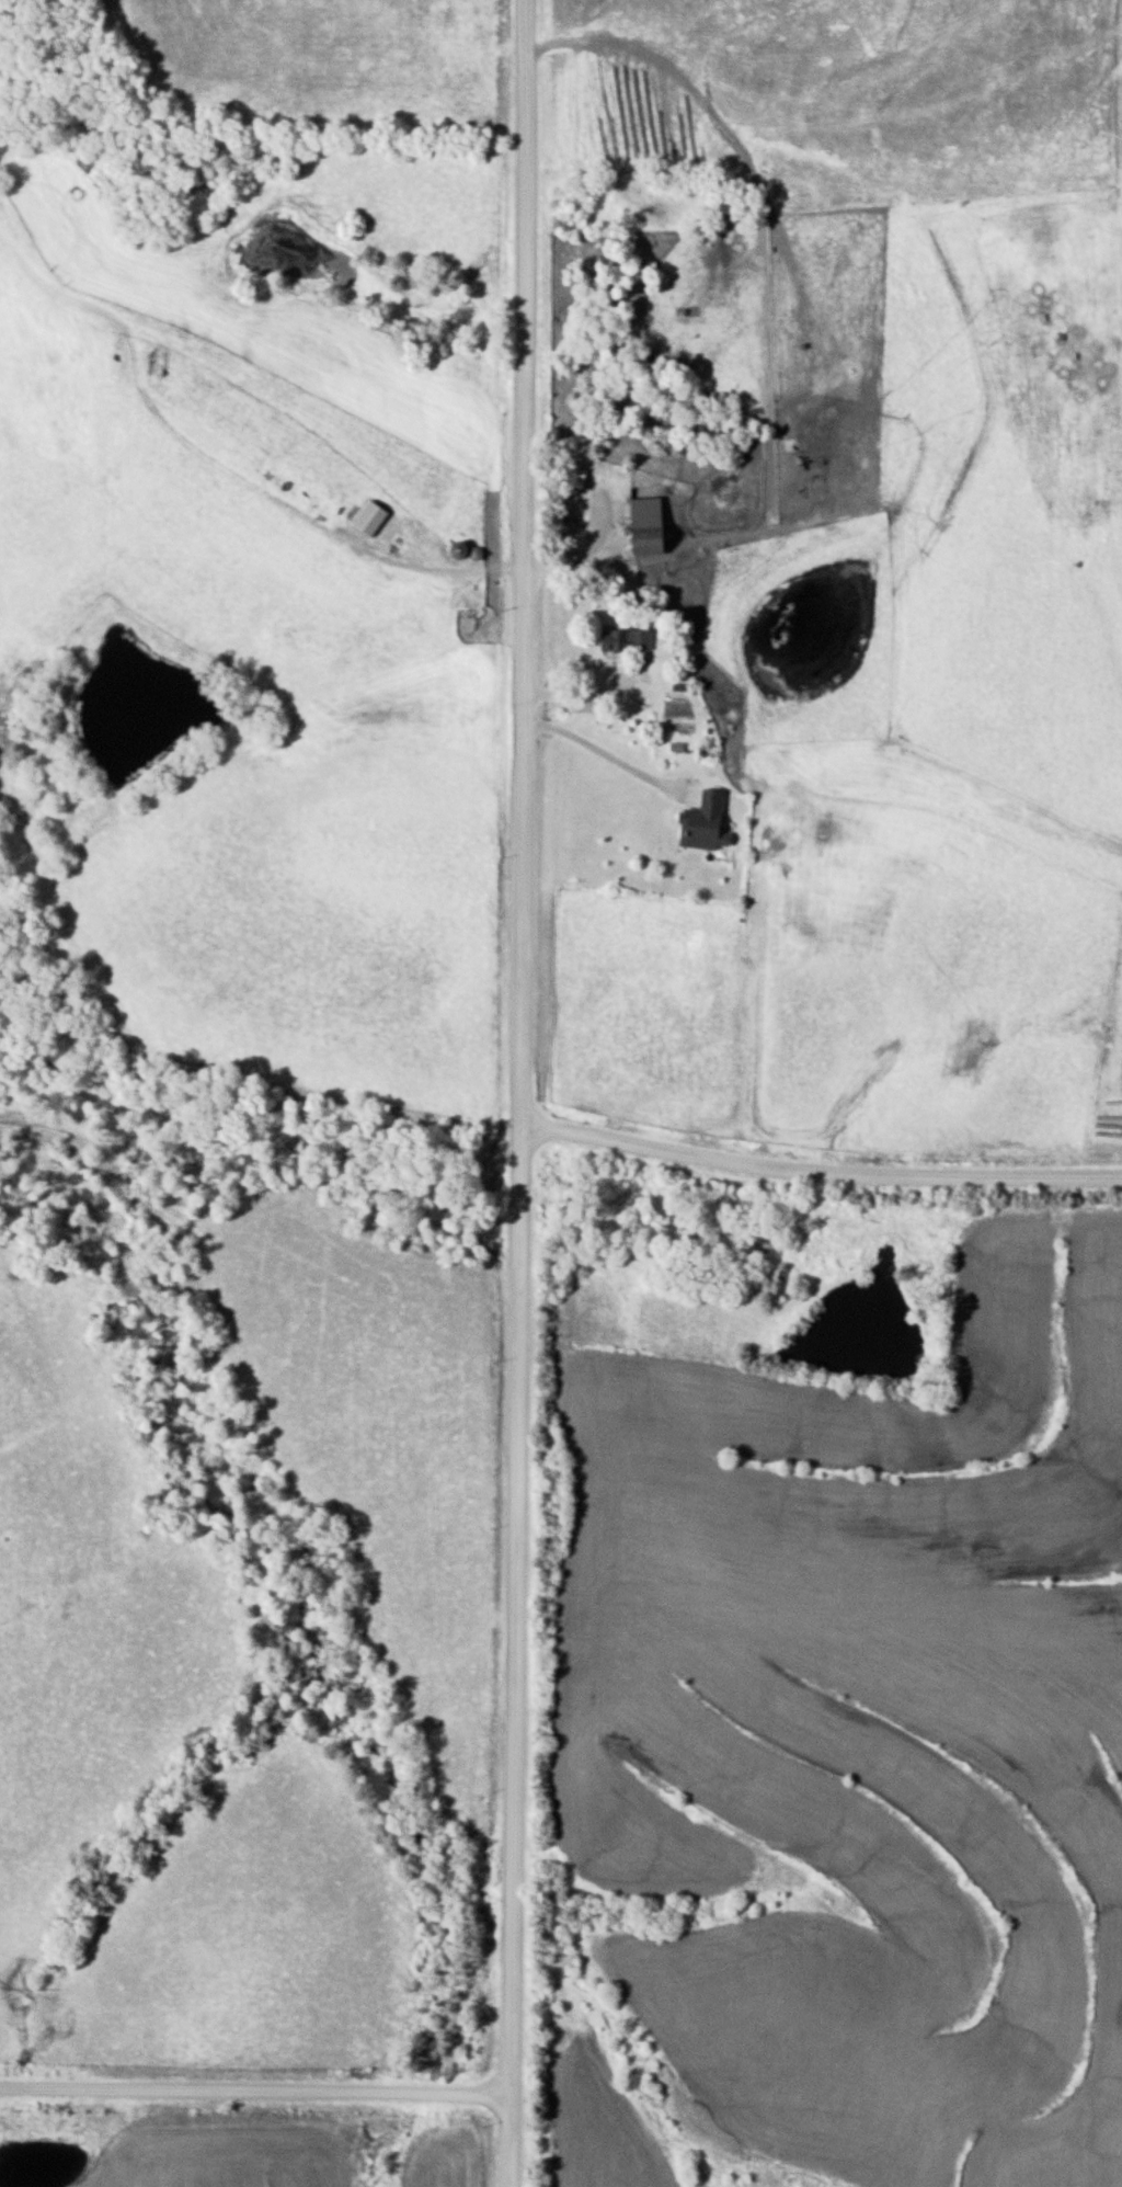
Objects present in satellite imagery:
building: (572, 478)
building: (641, 525)
building: (454, 549)
building: (620, 639)
road: (587, 688)
building: (698, 821)
road: (522, 1093)
road: (820, 1169)
road: (254, 2087)

